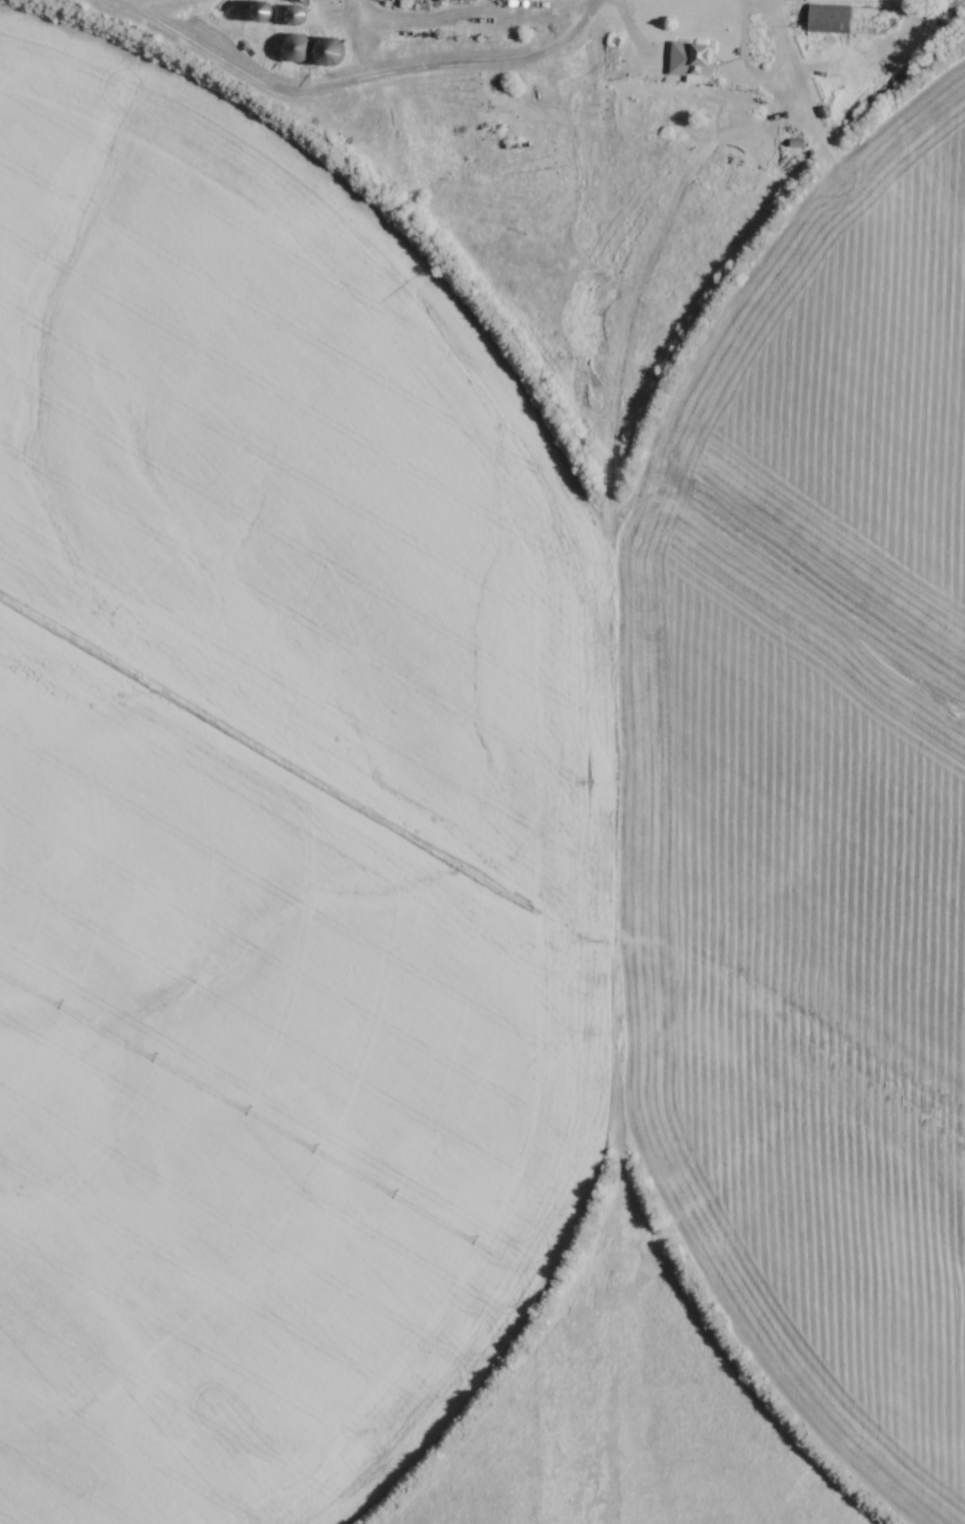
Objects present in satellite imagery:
building: (864, 0)
building: (266, 13)
building: (298, 17)
building: (830, 19)
building: (300, 49)
building: (332, 53)
building: (693, 60)
road: (761, 77)

